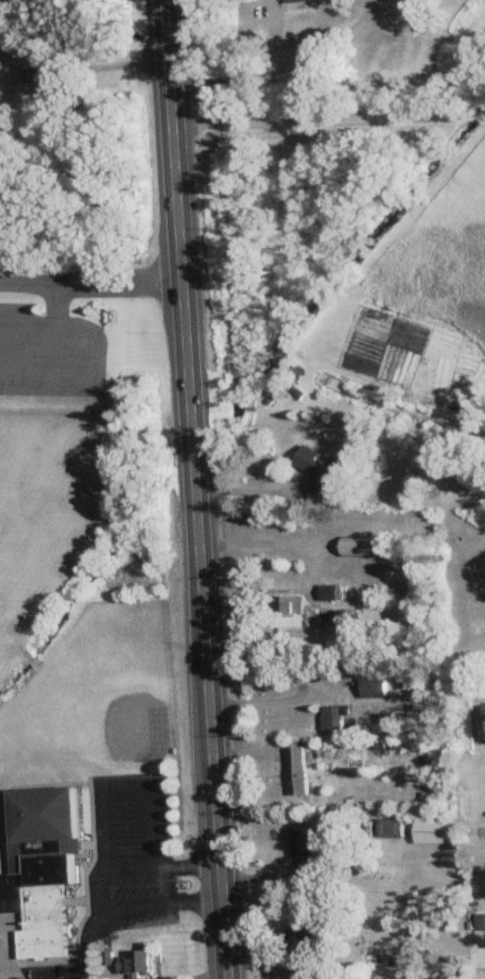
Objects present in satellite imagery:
building: (294, 2)
road: (115, 65)
road: (281, 65)
building: (35, 77)
building: (66, 100)
road: (329, 117)
road: (123, 280)
road: (30, 281)
road: (32, 325)
road: (100, 366)
building: (324, 472)
road: (199, 489)
road: (255, 490)
building: (361, 548)
road: (315, 569)
building: (332, 593)
building: (289, 607)
building: (376, 688)
road: (270, 702)
building: (336, 718)
building: (300, 772)
road: (135, 792)
building: (433, 833)
building: (305, 851)
building: (44, 868)
road: (146, 908)
building: (313, 931)
road: (91, 943)
building: (139, 965)

